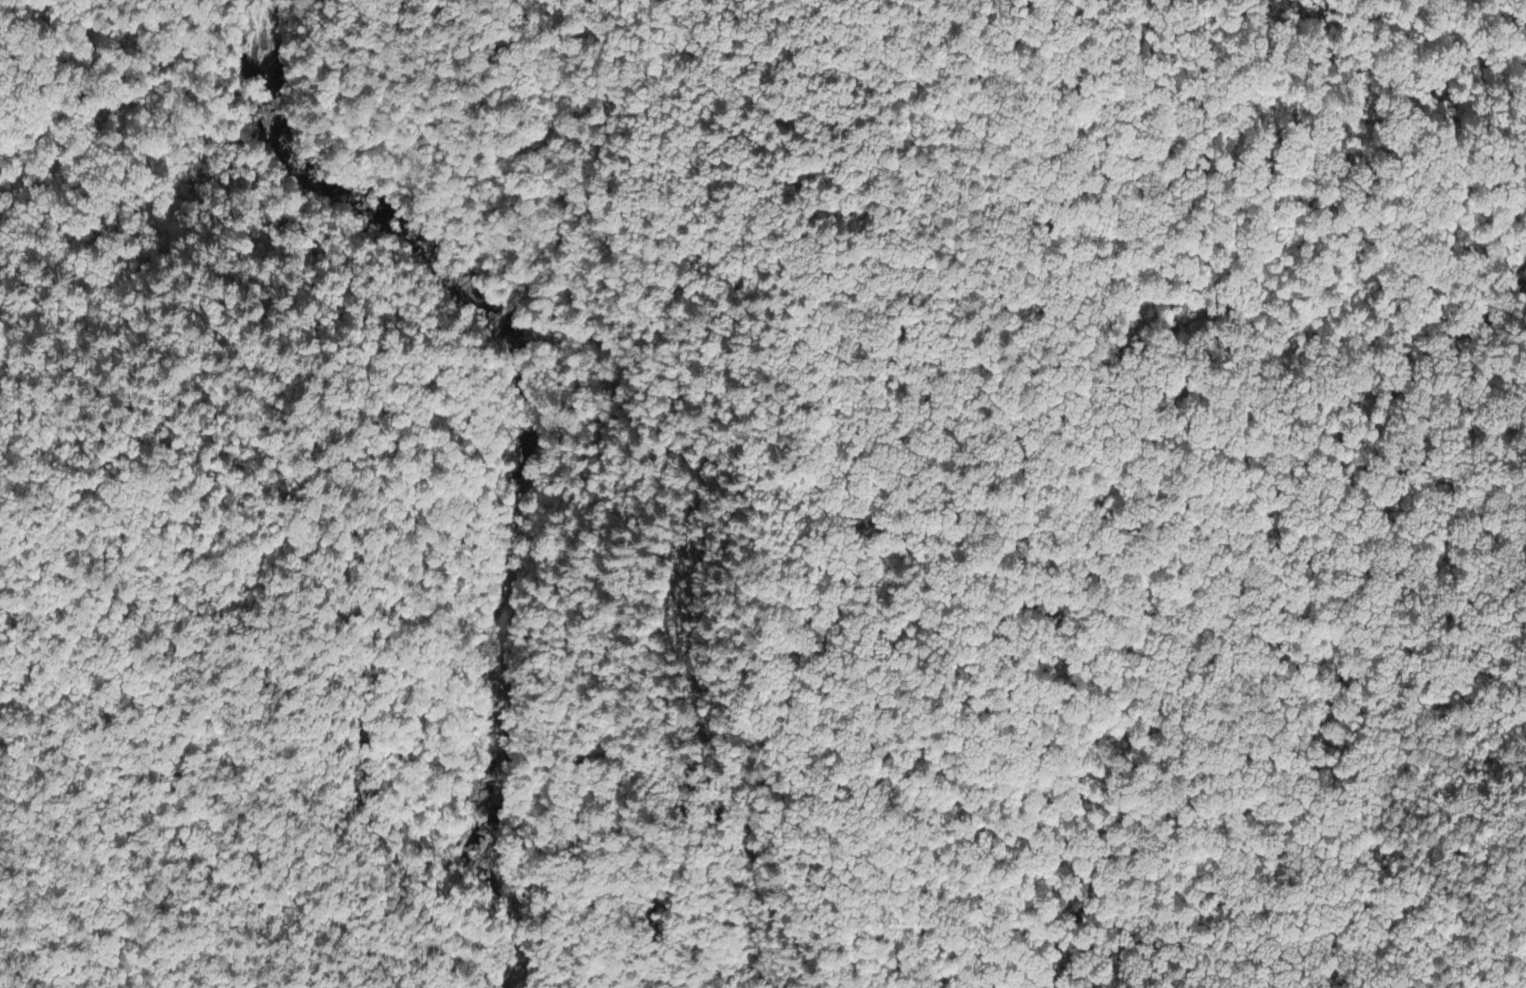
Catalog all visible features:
road: (175, 195)
road: (27, 238)
river: (527, 444)
road: (306, 571)

